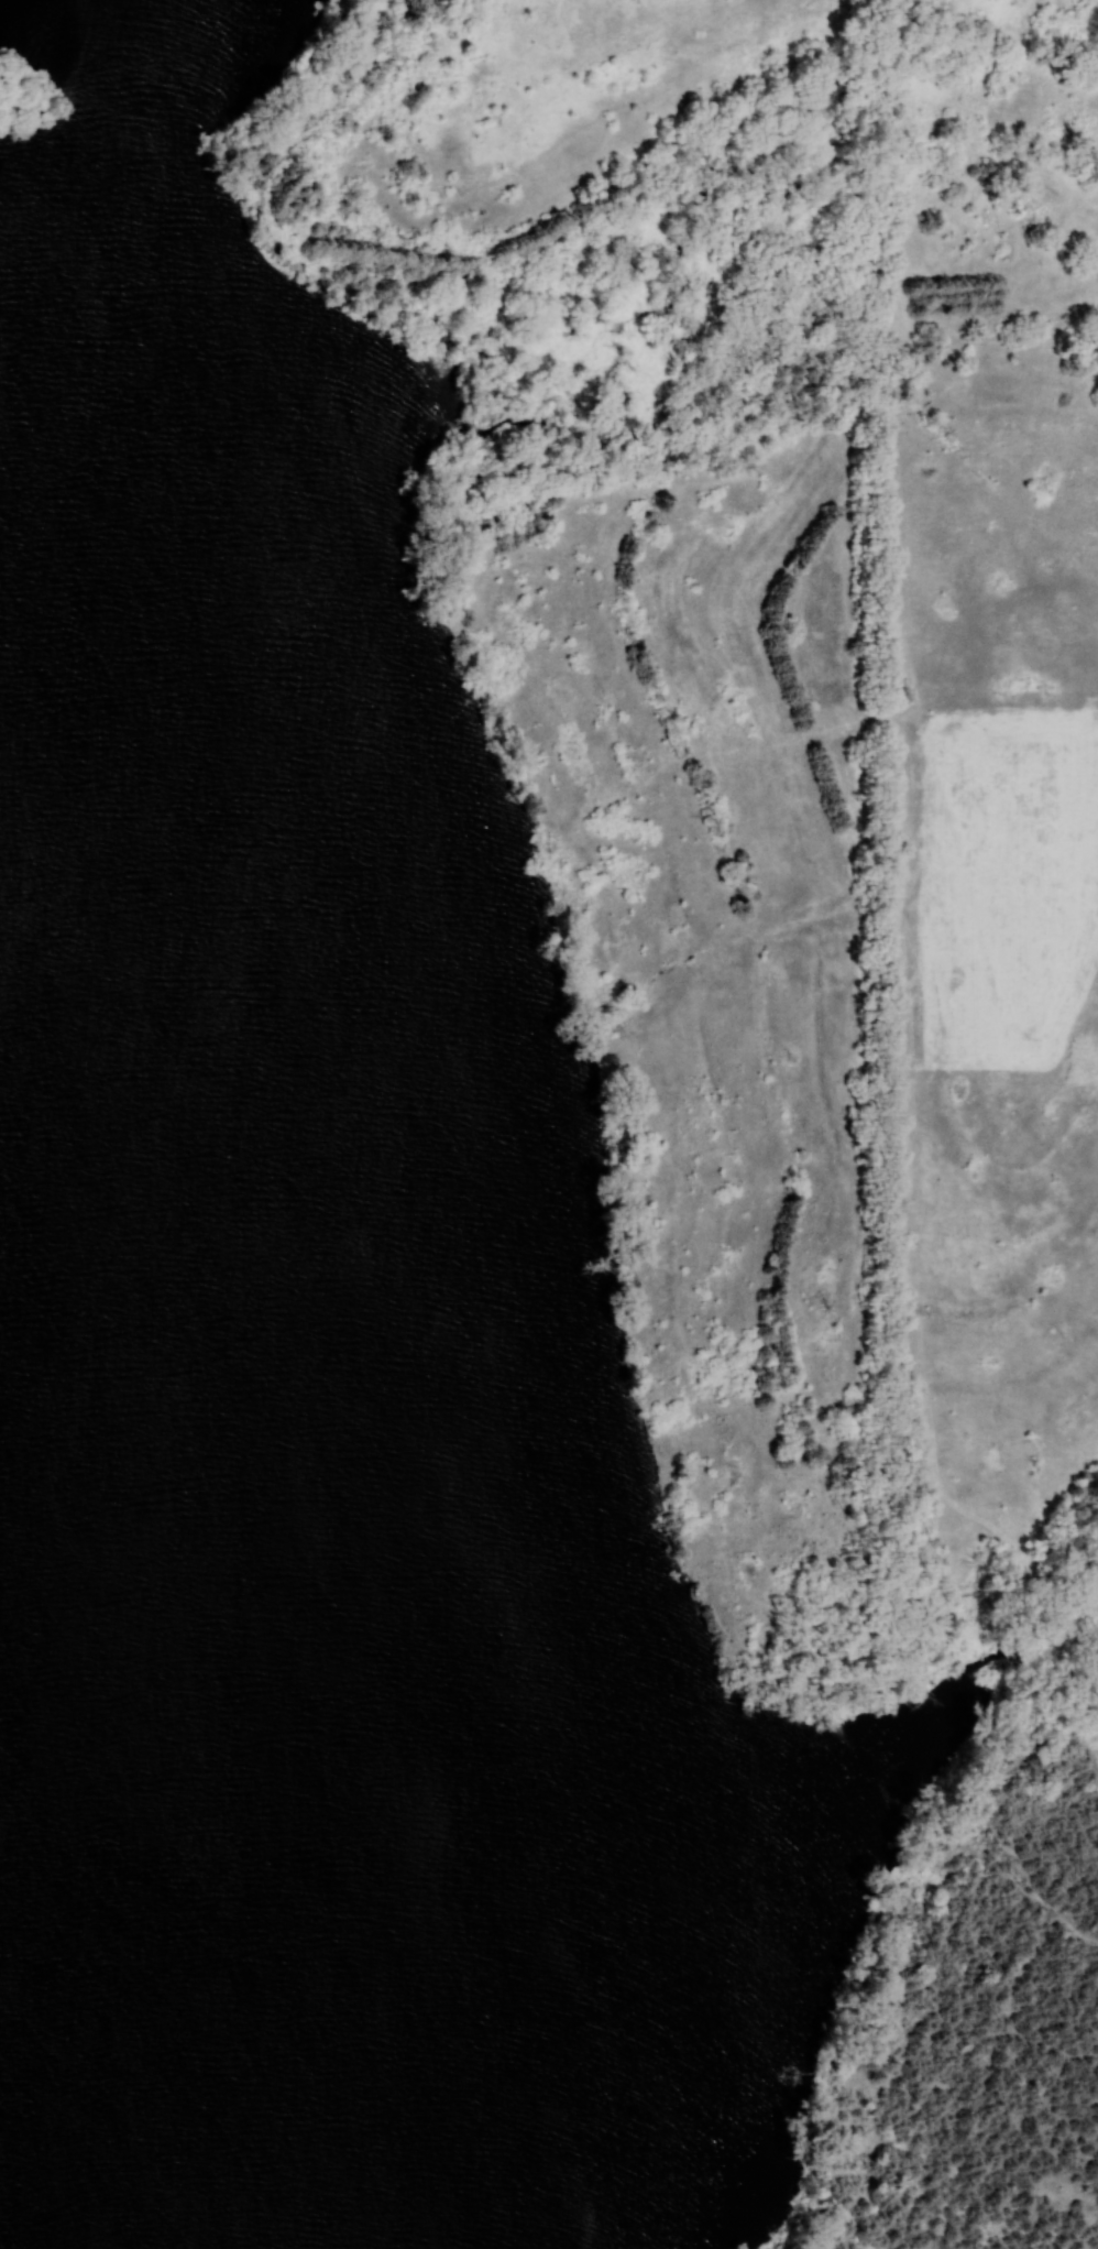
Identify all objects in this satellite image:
road: (1044, 242)
road: (806, 950)
road: (904, 1019)
park: (382, 1389)
road: (1048, 1620)
road: (1080, 1681)
road: (979, 1896)
road: (1080, 2232)

